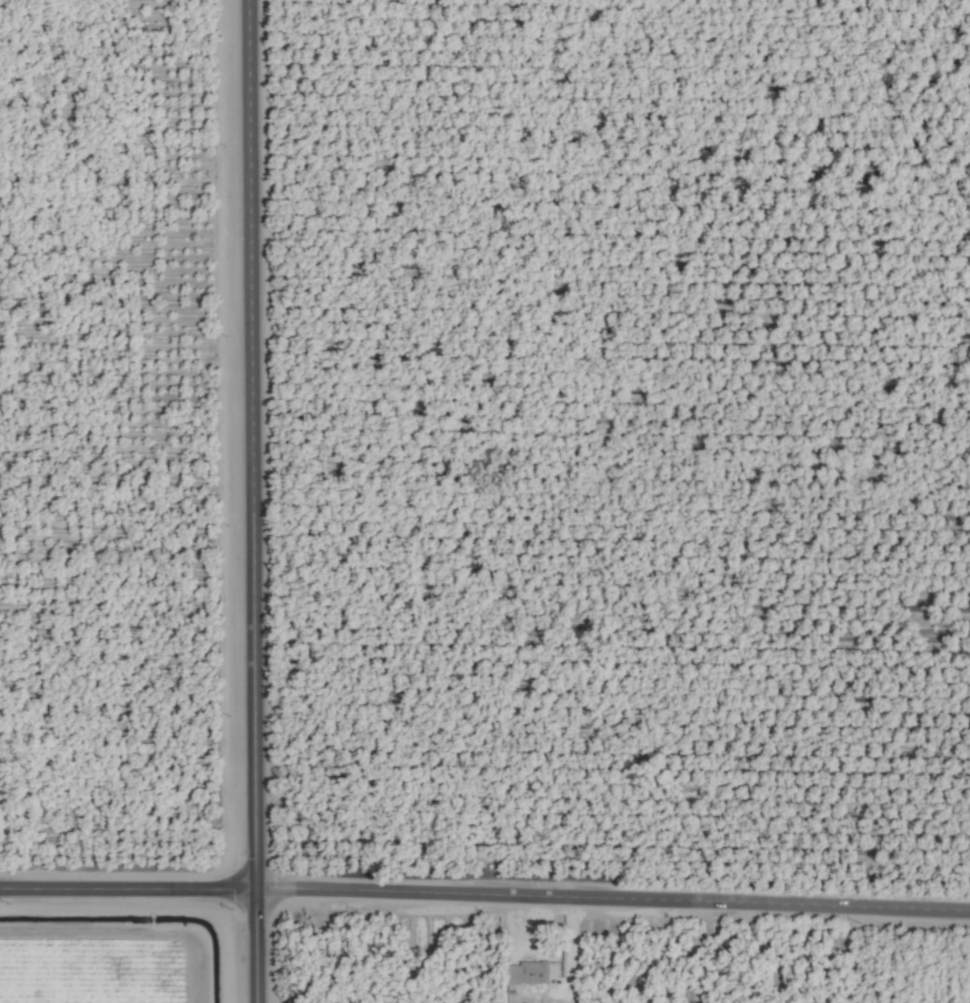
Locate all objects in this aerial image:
road: (256, 501)
crop: (485, 501)
road: (485, 891)
building: (528, 972)

